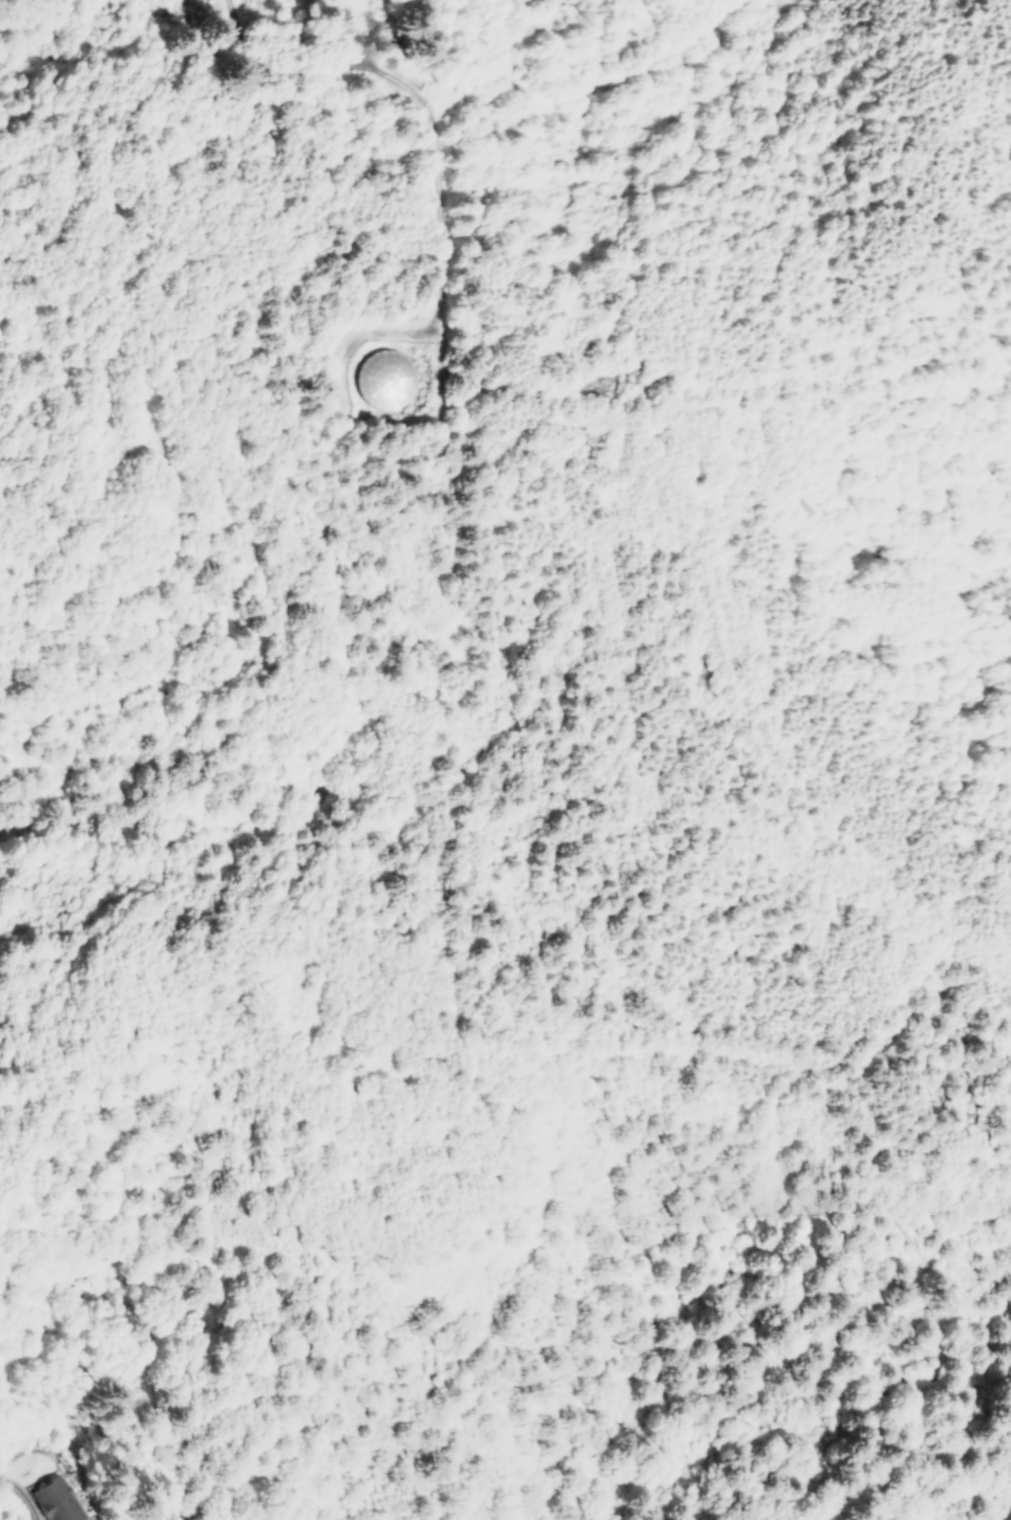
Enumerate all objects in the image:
building: (384, 377)
building: (52, 1500)

